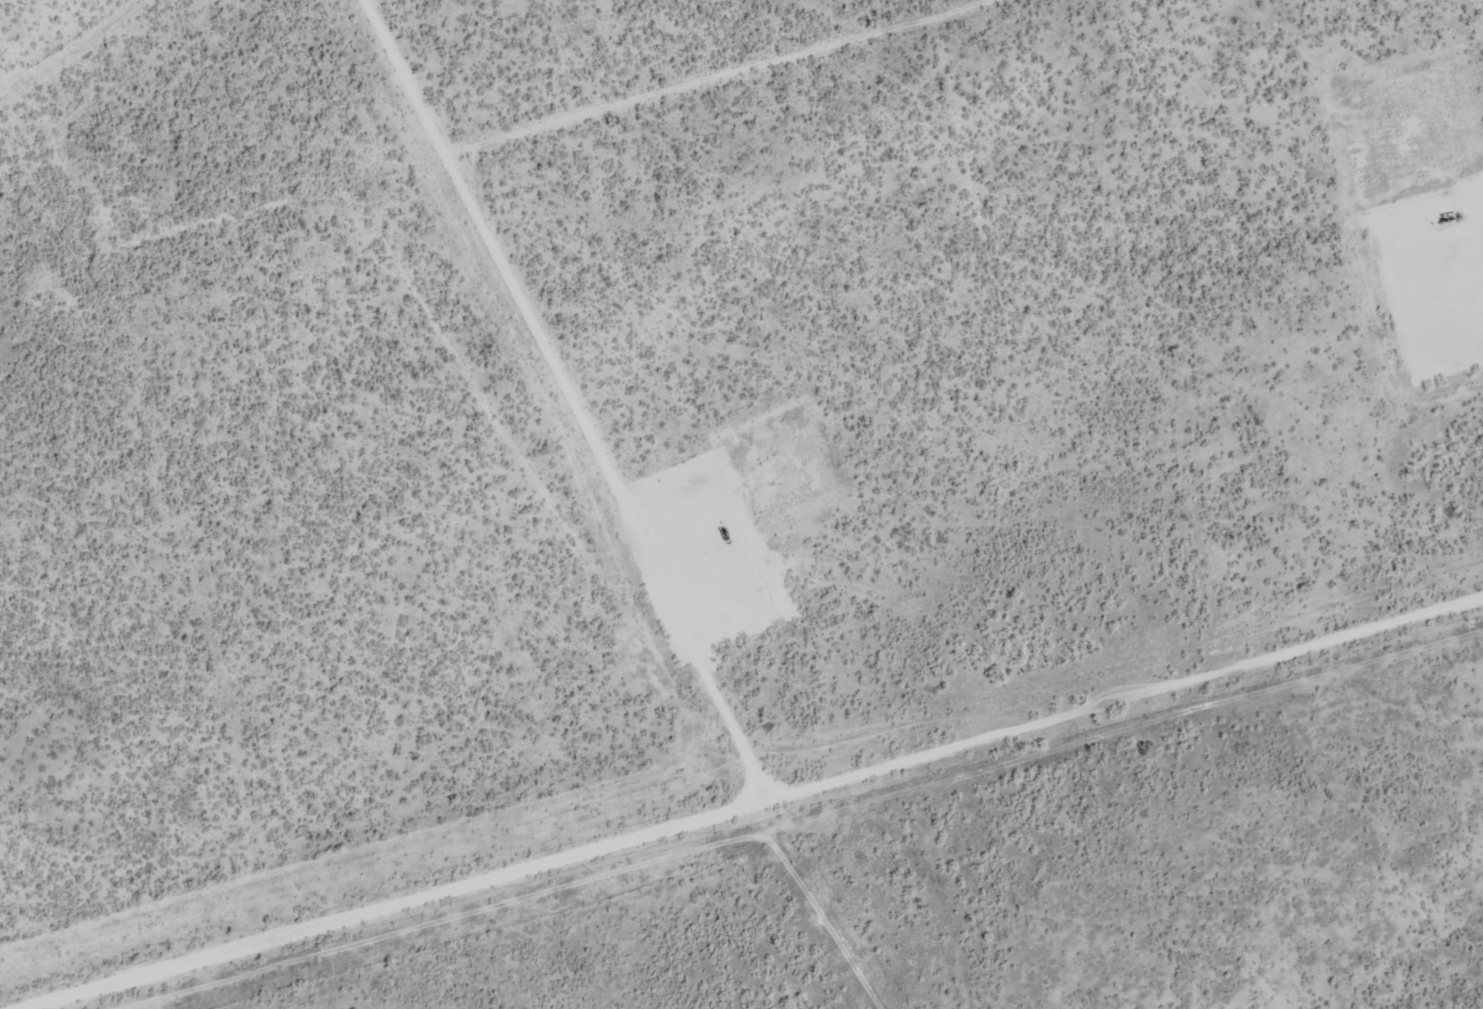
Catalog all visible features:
road: (672, 121)

